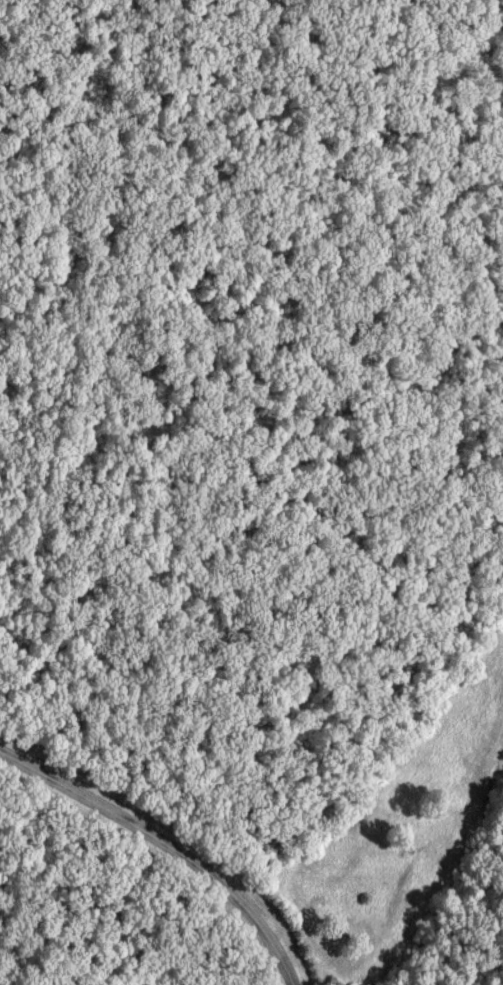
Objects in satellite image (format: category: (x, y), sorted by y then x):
road: (166, 846)

